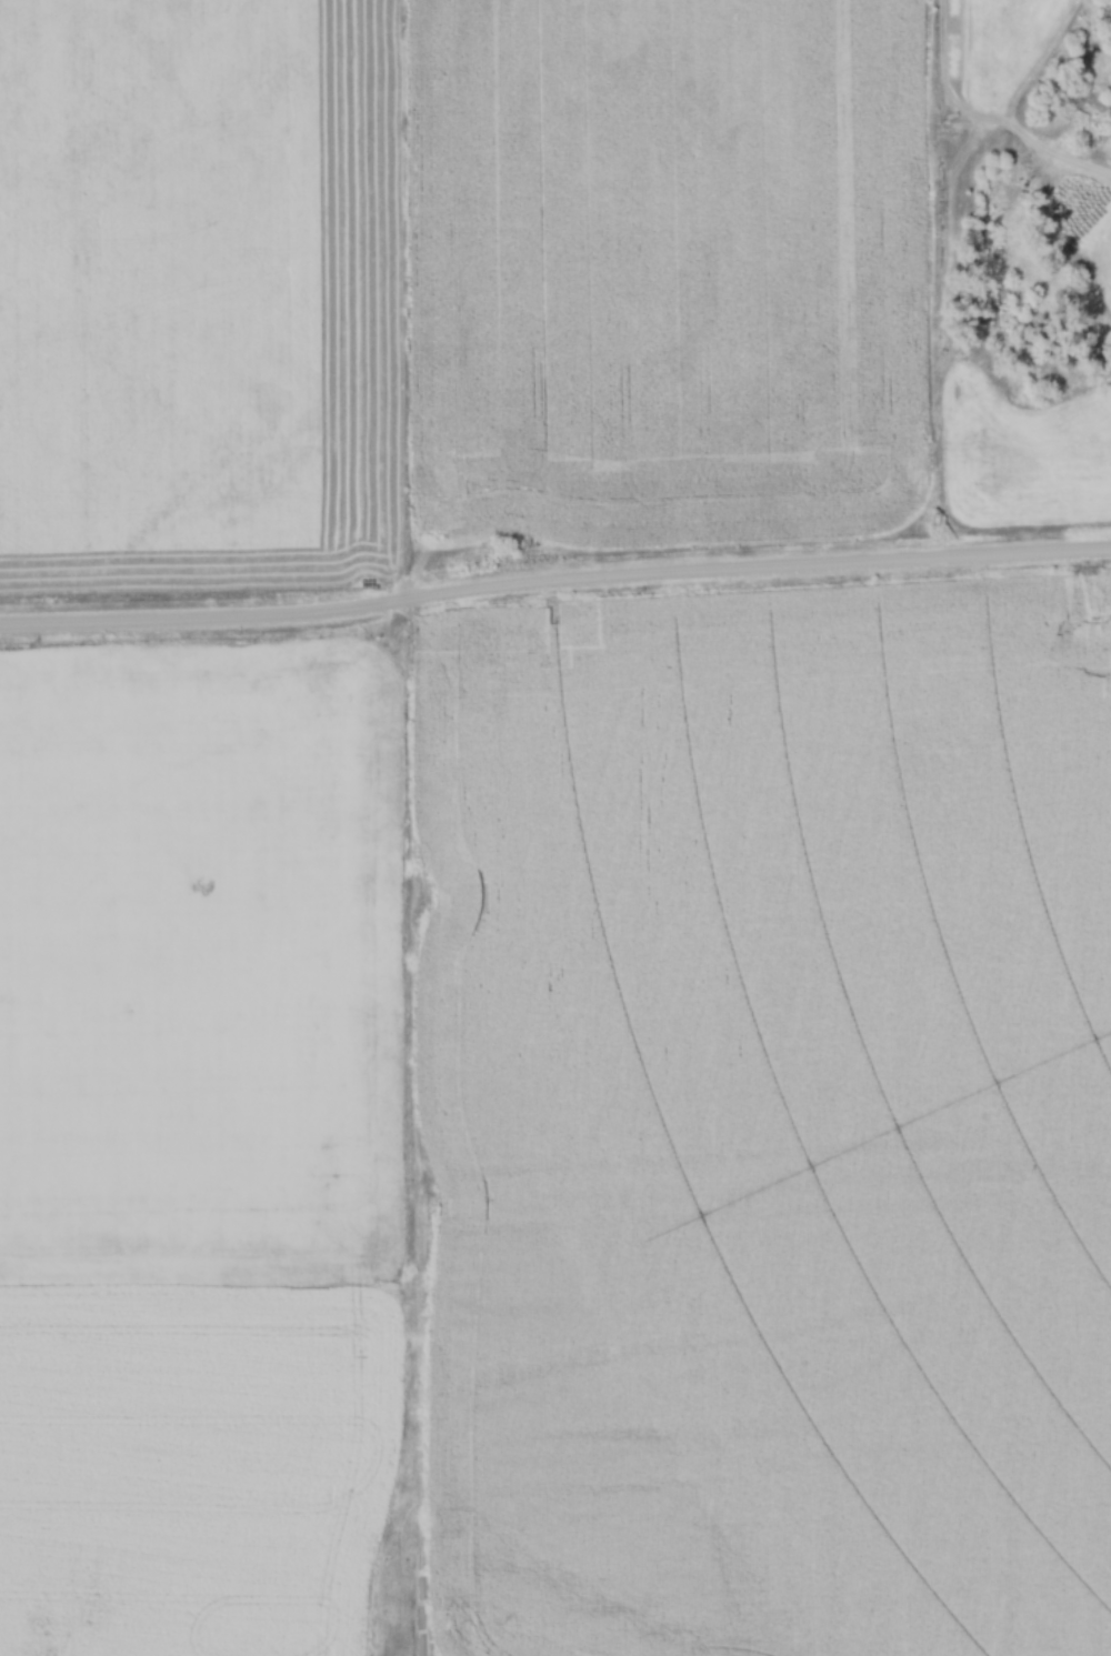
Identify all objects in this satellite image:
road: (781, 571)
road: (227, 619)

